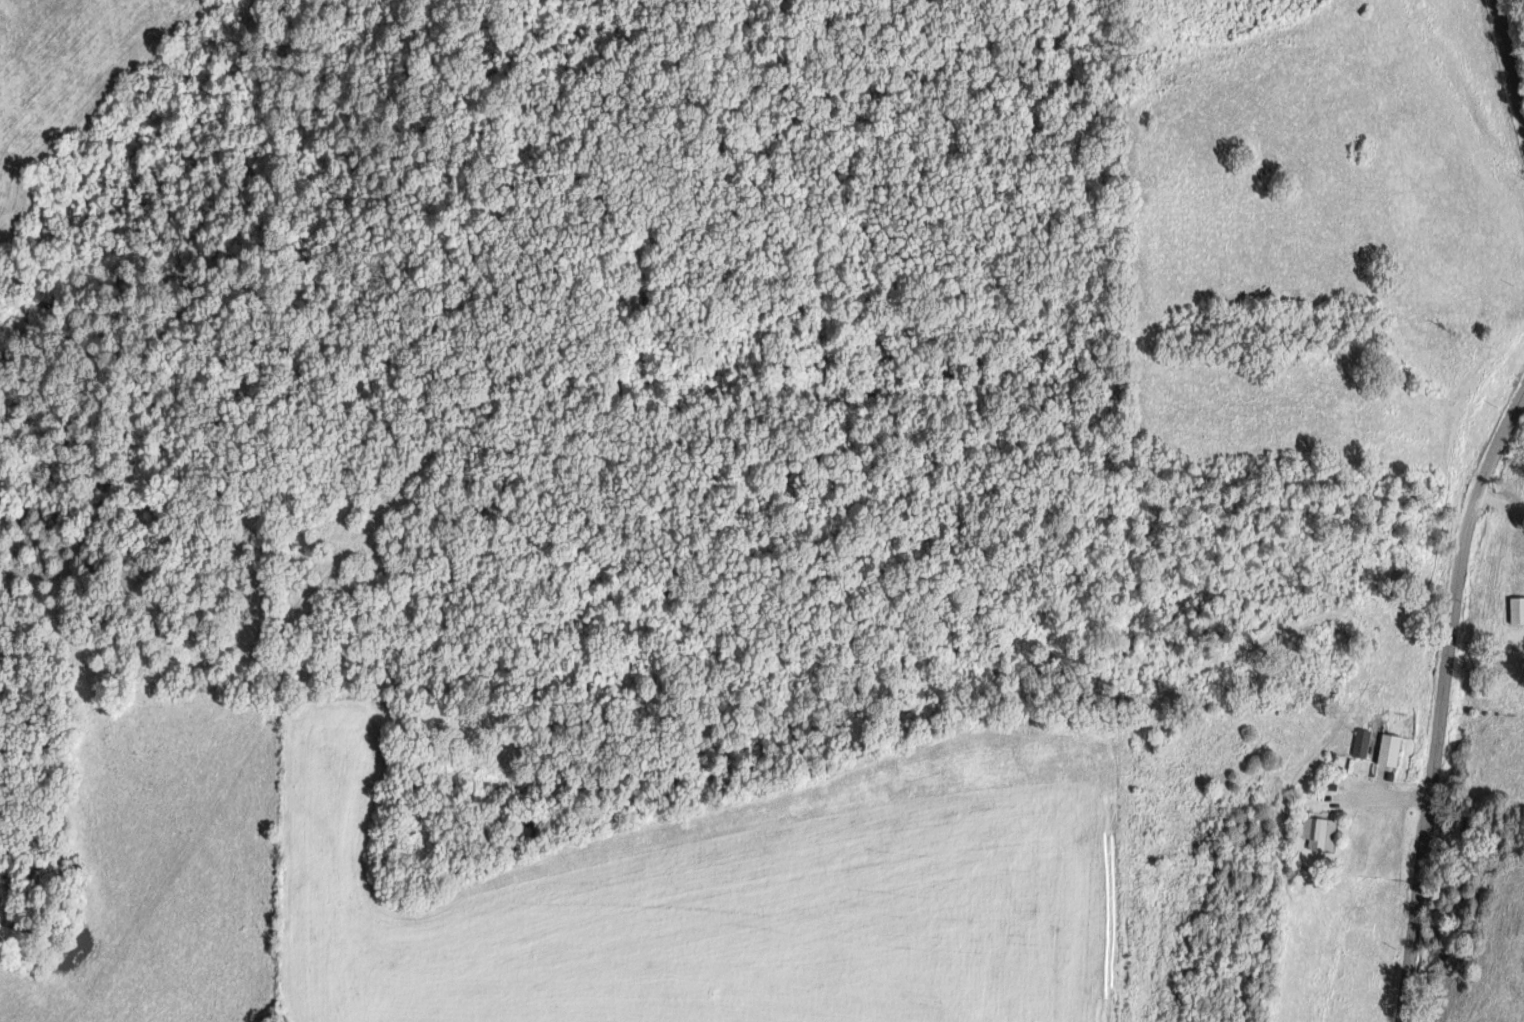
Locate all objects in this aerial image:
road: (1507, 61)
road: (1499, 501)
road: (1438, 690)
building: (1360, 743)
building: (1387, 750)
road: (1369, 793)

